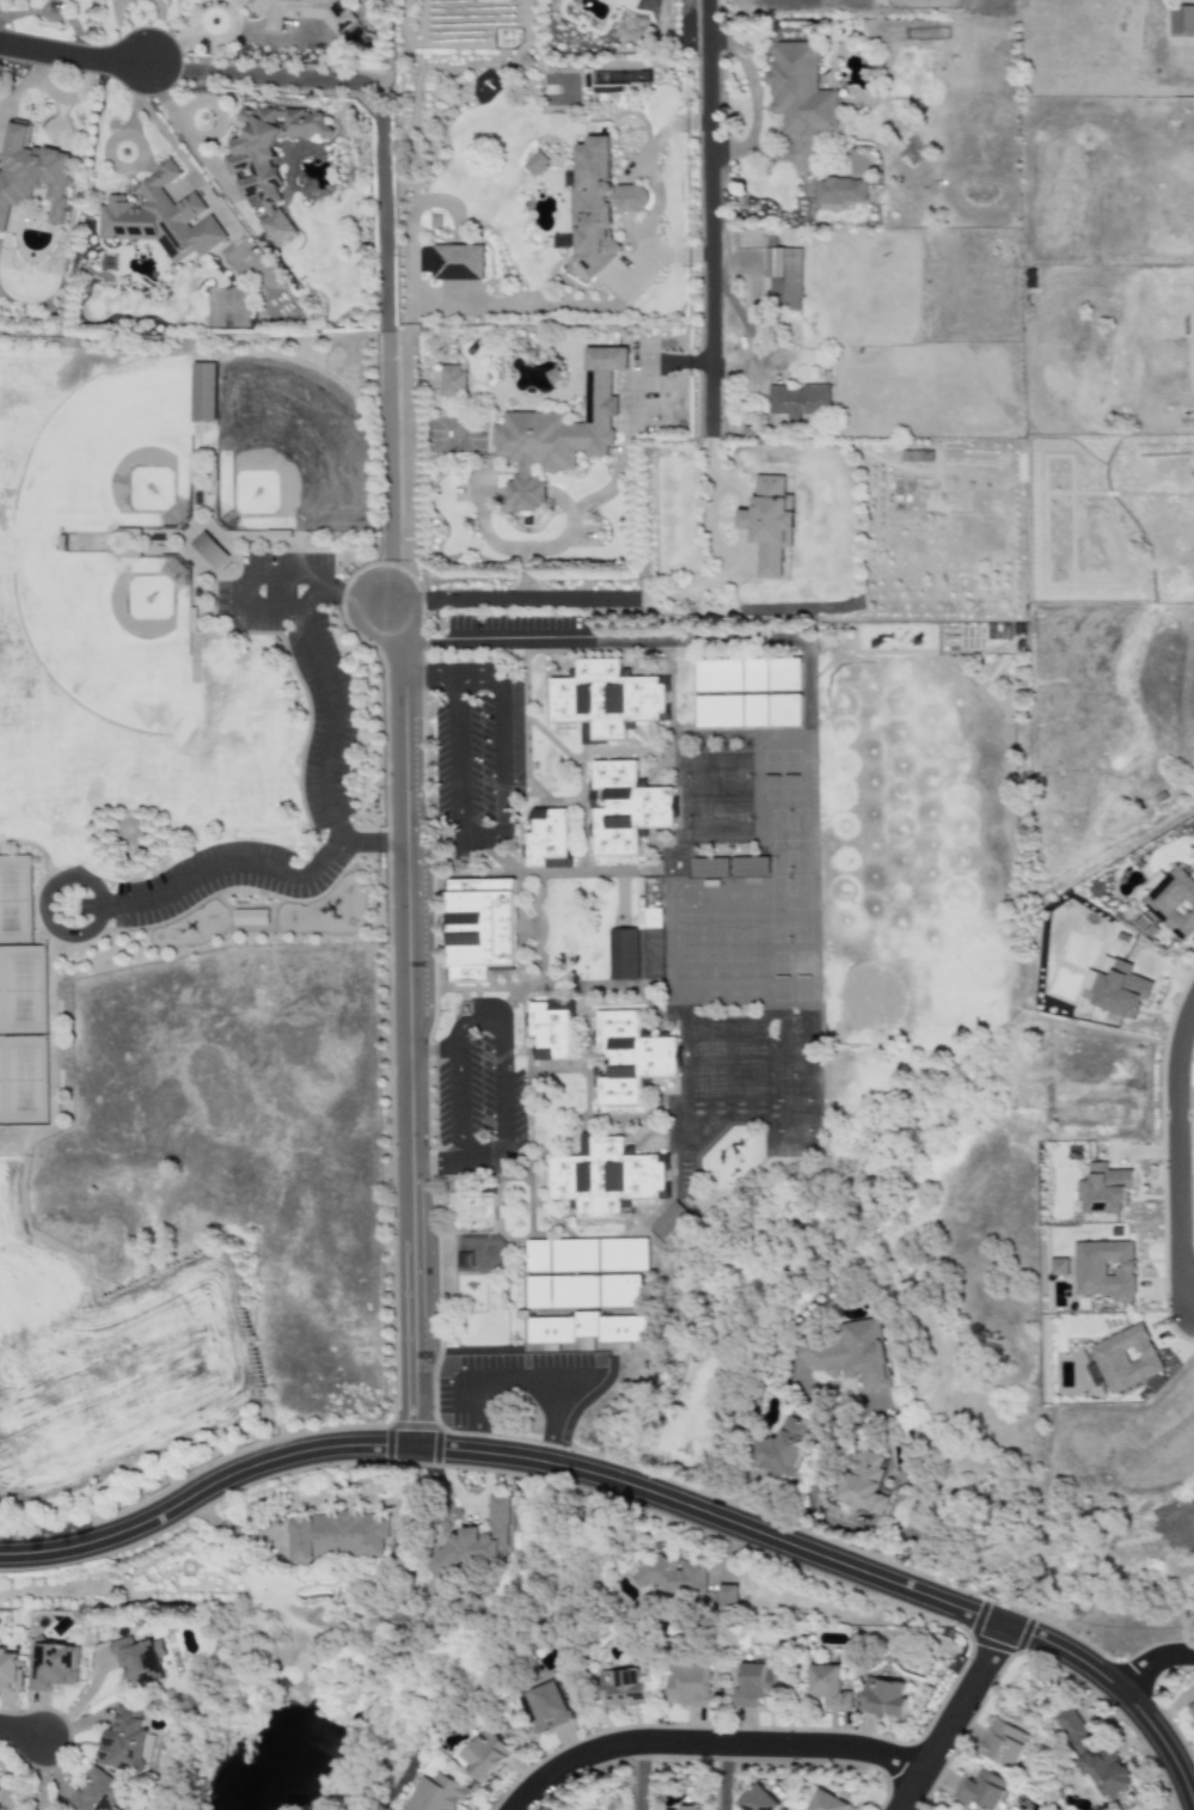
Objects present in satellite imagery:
road: (784, 1)
building: (299, 12)
building: (1181, 22)
road: (71, 54)
building: (800, 92)
road: (753, 98)
building: (269, 160)
building: (535, 164)
road: (649, 165)
building: (30, 173)
building: (840, 191)
building: (598, 207)
road: (712, 215)
building: (160, 219)
road: (382, 234)
building: (453, 263)
building: (783, 279)
road: (421, 310)
building: (451, 381)
building: (203, 392)
building: (798, 402)
building: (559, 433)
park: (110, 454)
park: (286, 455)
building: (769, 524)
road: (717, 548)
building: (209, 551)
road: (509, 598)
road: (351, 600)
road: (306, 629)
park: (109, 631)
road: (491, 643)
road: (865, 654)
road: (996, 661)
road: (1002, 664)
road: (994, 668)
road: (431, 681)
building: (747, 693)
road: (987, 695)
building: (605, 699)
road: (408, 727)
park: (718, 797)
building: (625, 809)
road: (500, 833)
building: (547, 839)
road: (263, 867)
building: (749, 867)
building: (709, 868)
park: (789, 878)
park: (13, 901)
road: (41, 904)
building: (1172, 904)
building: (249, 918)
building: (648, 918)
building: (479, 928)
park: (712, 938)
building: (623, 955)
building: (1120, 991)
park: (869, 1003)
road: (497, 1021)
building: (550, 1033)
park: (22, 1037)
road: (435, 1051)
building: (629, 1058)
park: (795, 1083)
road: (416, 1146)
road: (1177, 1148)
road: (436, 1164)
building: (605, 1179)
building: (1104, 1190)
building: (473, 1213)
building: (668, 1221)
building: (464, 1260)
building: (1060, 1268)
building: (1104, 1270)
building: (584, 1273)
building: (586, 1329)
building: (844, 1355)
building: (1126, 1359)
road: (514, 1381)
building: (780, 1449)
building: (861, 1484)
road: (813, 1486)
road: (633, 1490)
road: (865, 1524)
building: (342, 1536)
building: (474, 1542)
building: (668, 1573)
building: (727, 1597)
building: (143, 1661)
building: (57, 1668)
road: (1155, 1668)
building: (11, 1670)
building: (688, 1686)
building: (755, 1686)
building: (829, 1688)
building: (624, 1689)
building: (884, 1699)
building: (546, 1708)
building: (1192, 1711)
road: (959, 1719)
road: (25, 1732)
building: (131, 1743)
building: (1004, 1744)
road: (714, 1745)
building: (486, 1755)
building: (1094, 1757)
road: (45, 1774)
road: (647, 1777)
building: (0, 1778)
road: (730, 1778)
building: (980, 1791)
building: (104, 1794)
building: (437, 1794)
building: (758, 1800)
building: (828, 1803)
building: (692, 1808)

